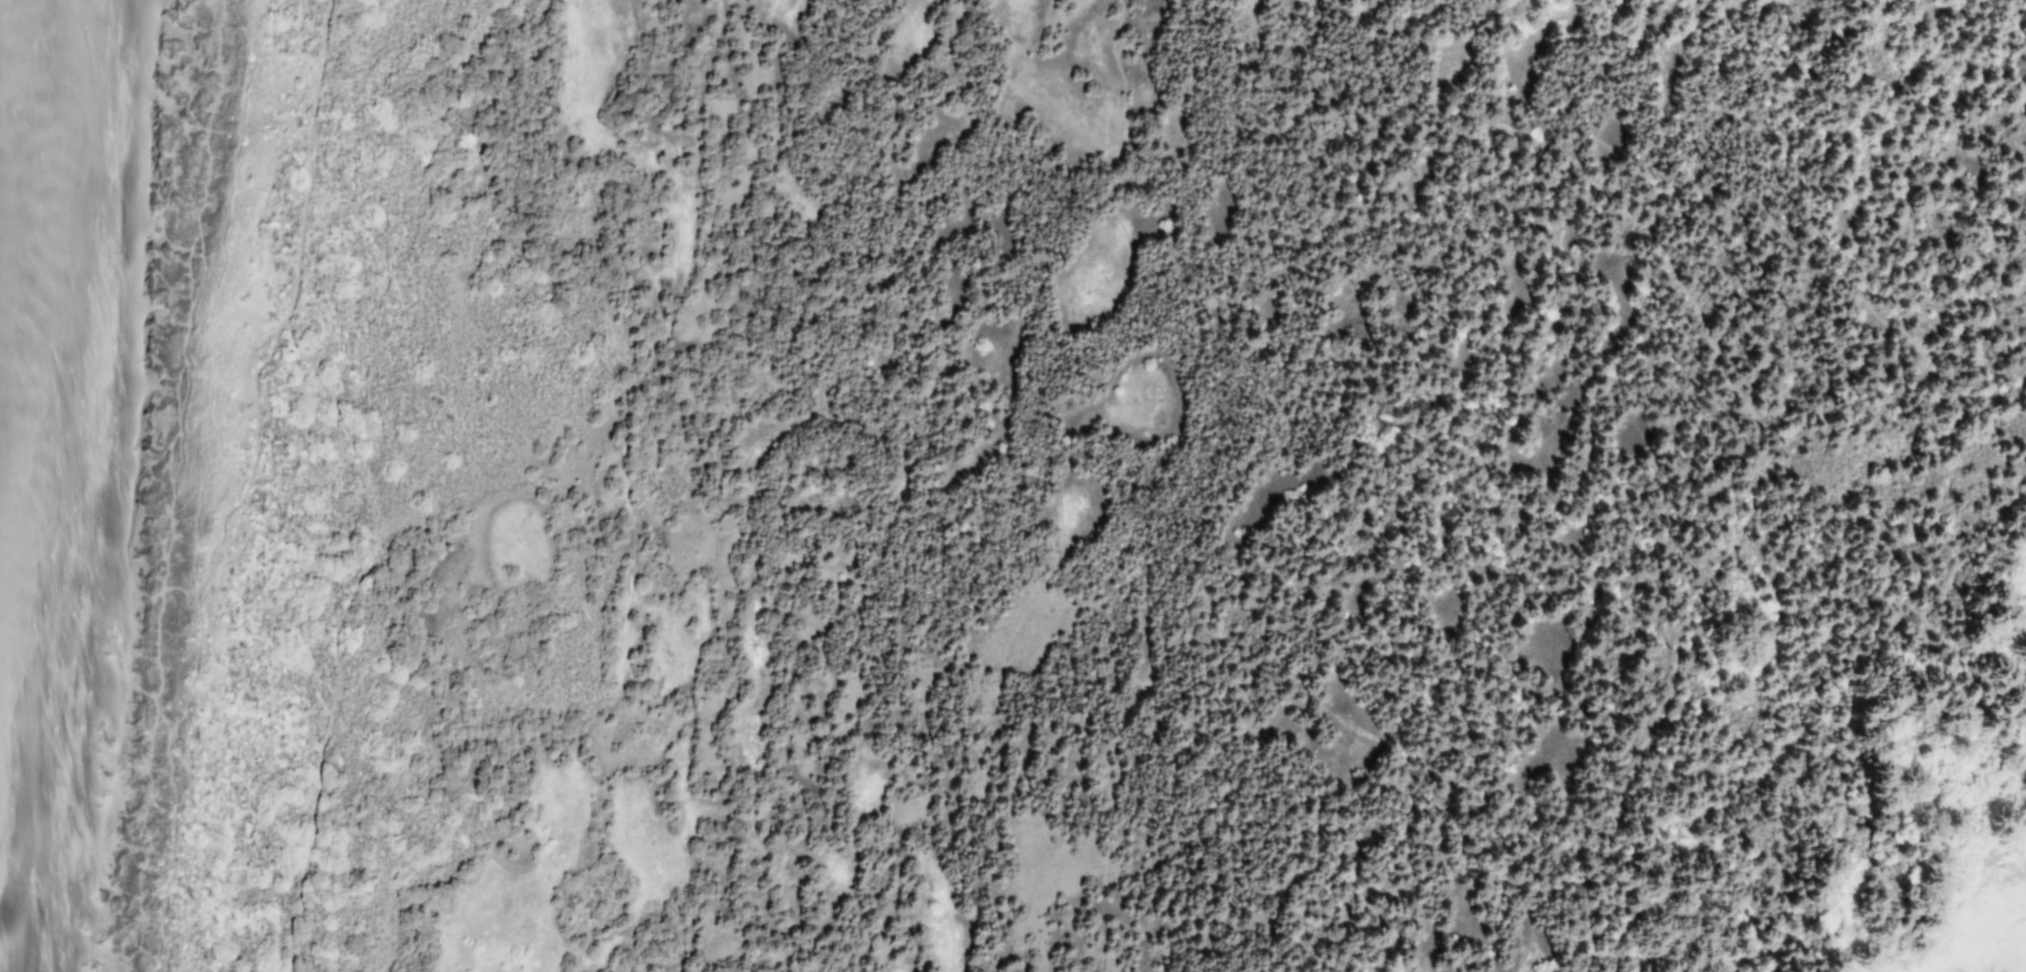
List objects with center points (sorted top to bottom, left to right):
road: (368, 481)

